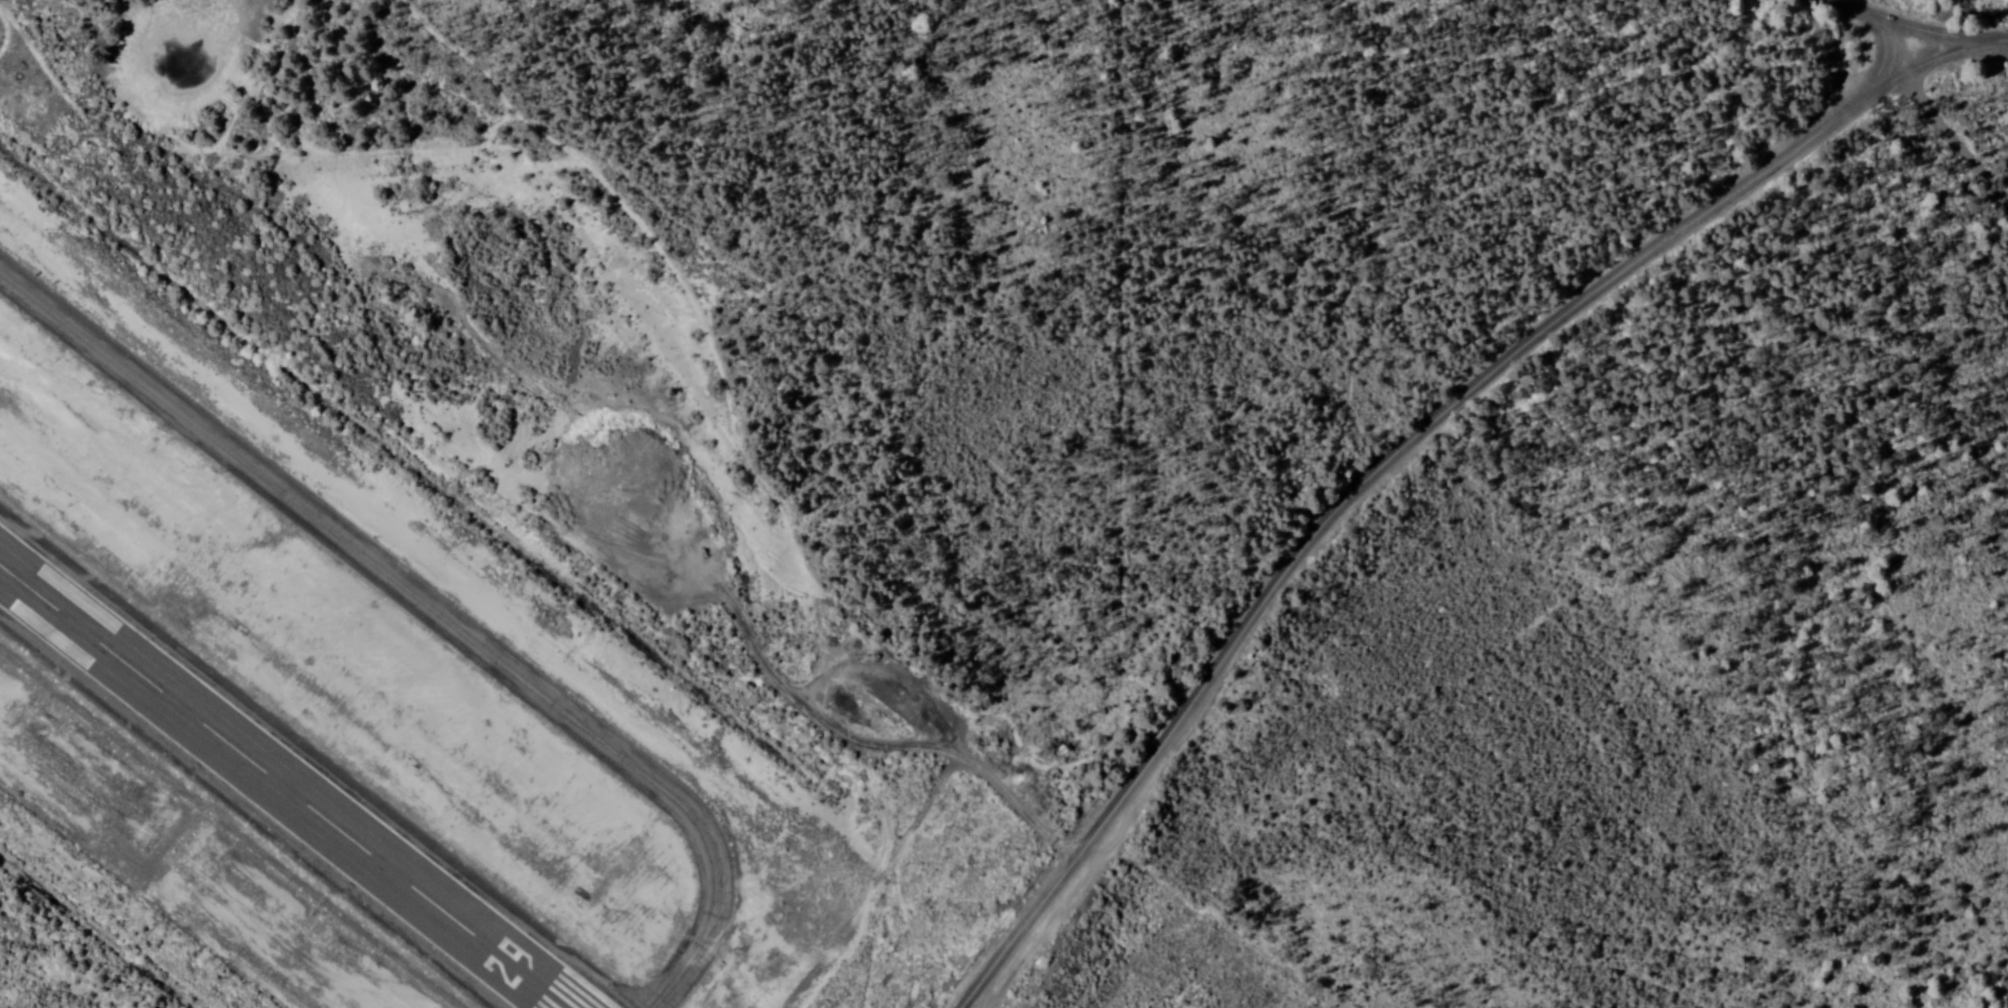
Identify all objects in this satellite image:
road: (1919, 36)
road: (1980, 101)
road: (1385, 456)
airport taxiway: (430, 609)
airport: (335, 696)
airport runway: (279, 791)

